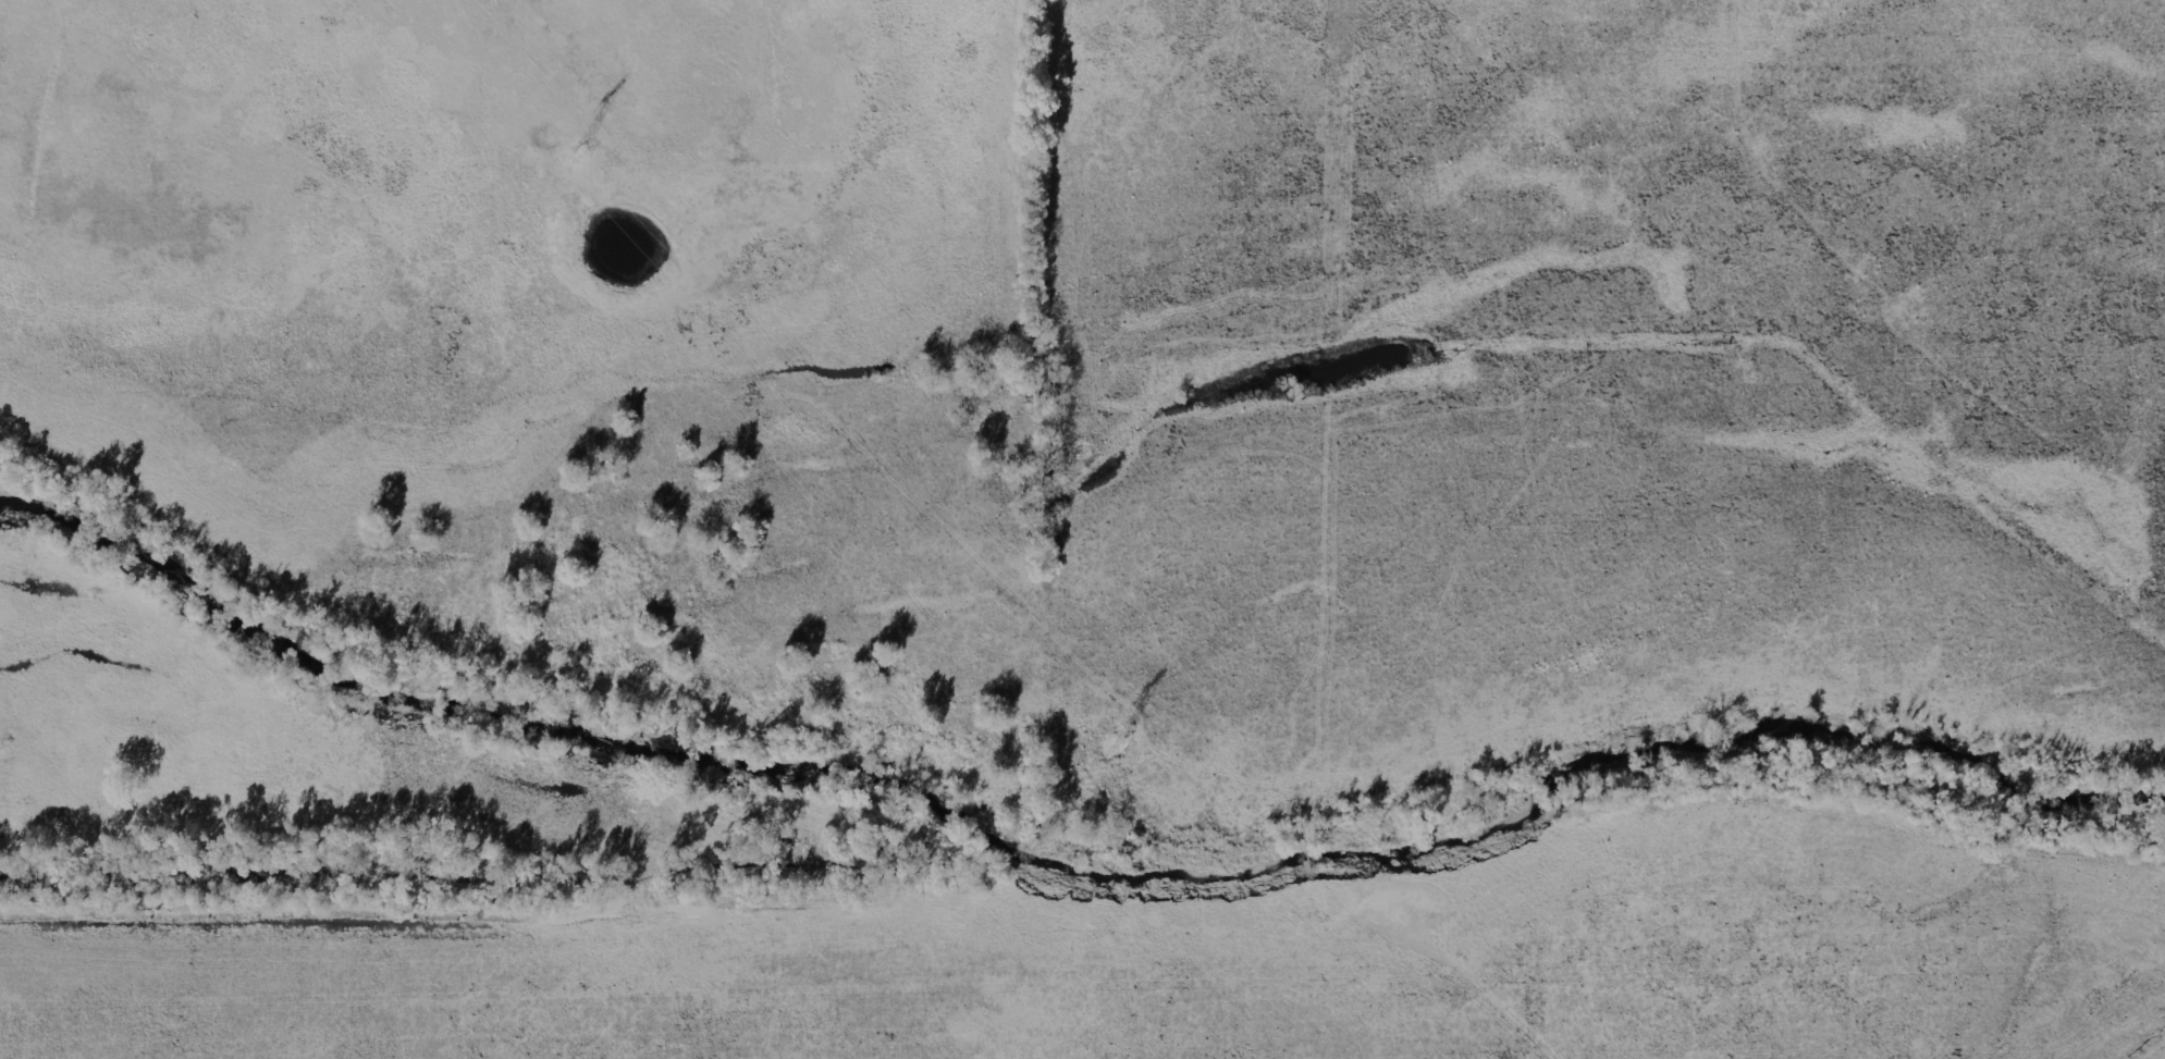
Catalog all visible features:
power tower: (585, 155)
power tower: (1119, 749)

